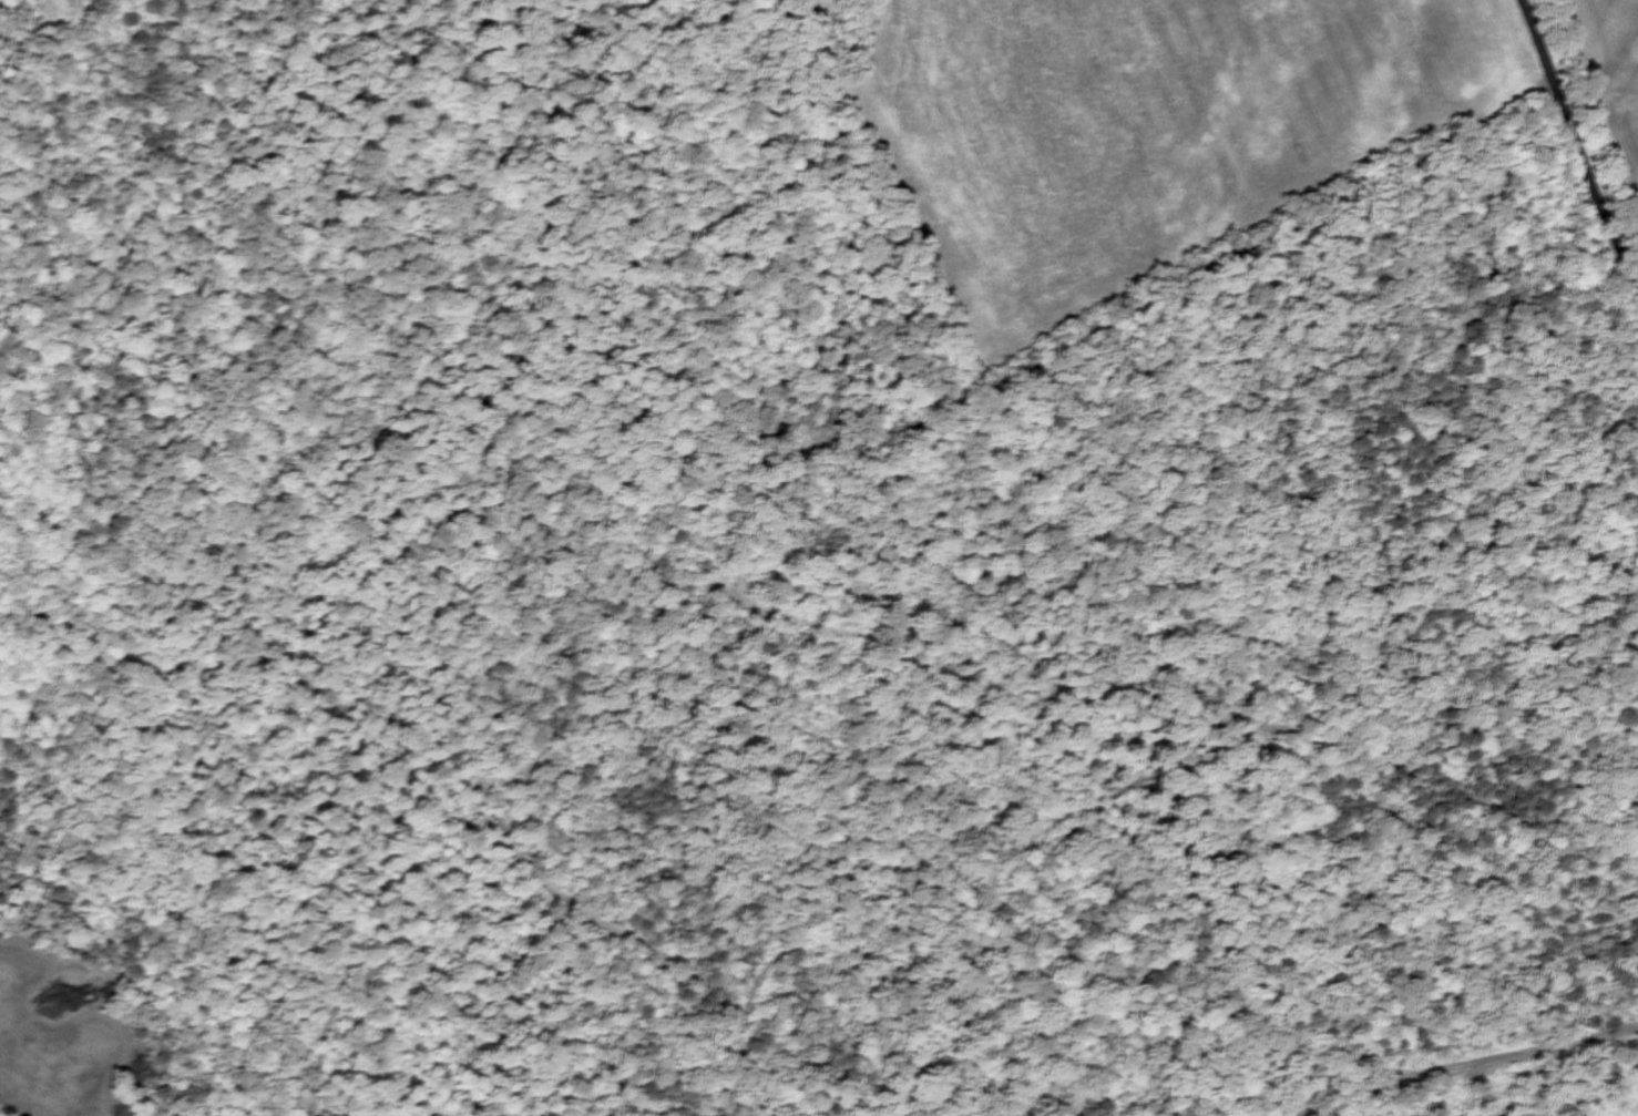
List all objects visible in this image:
road: (1578, 142)

